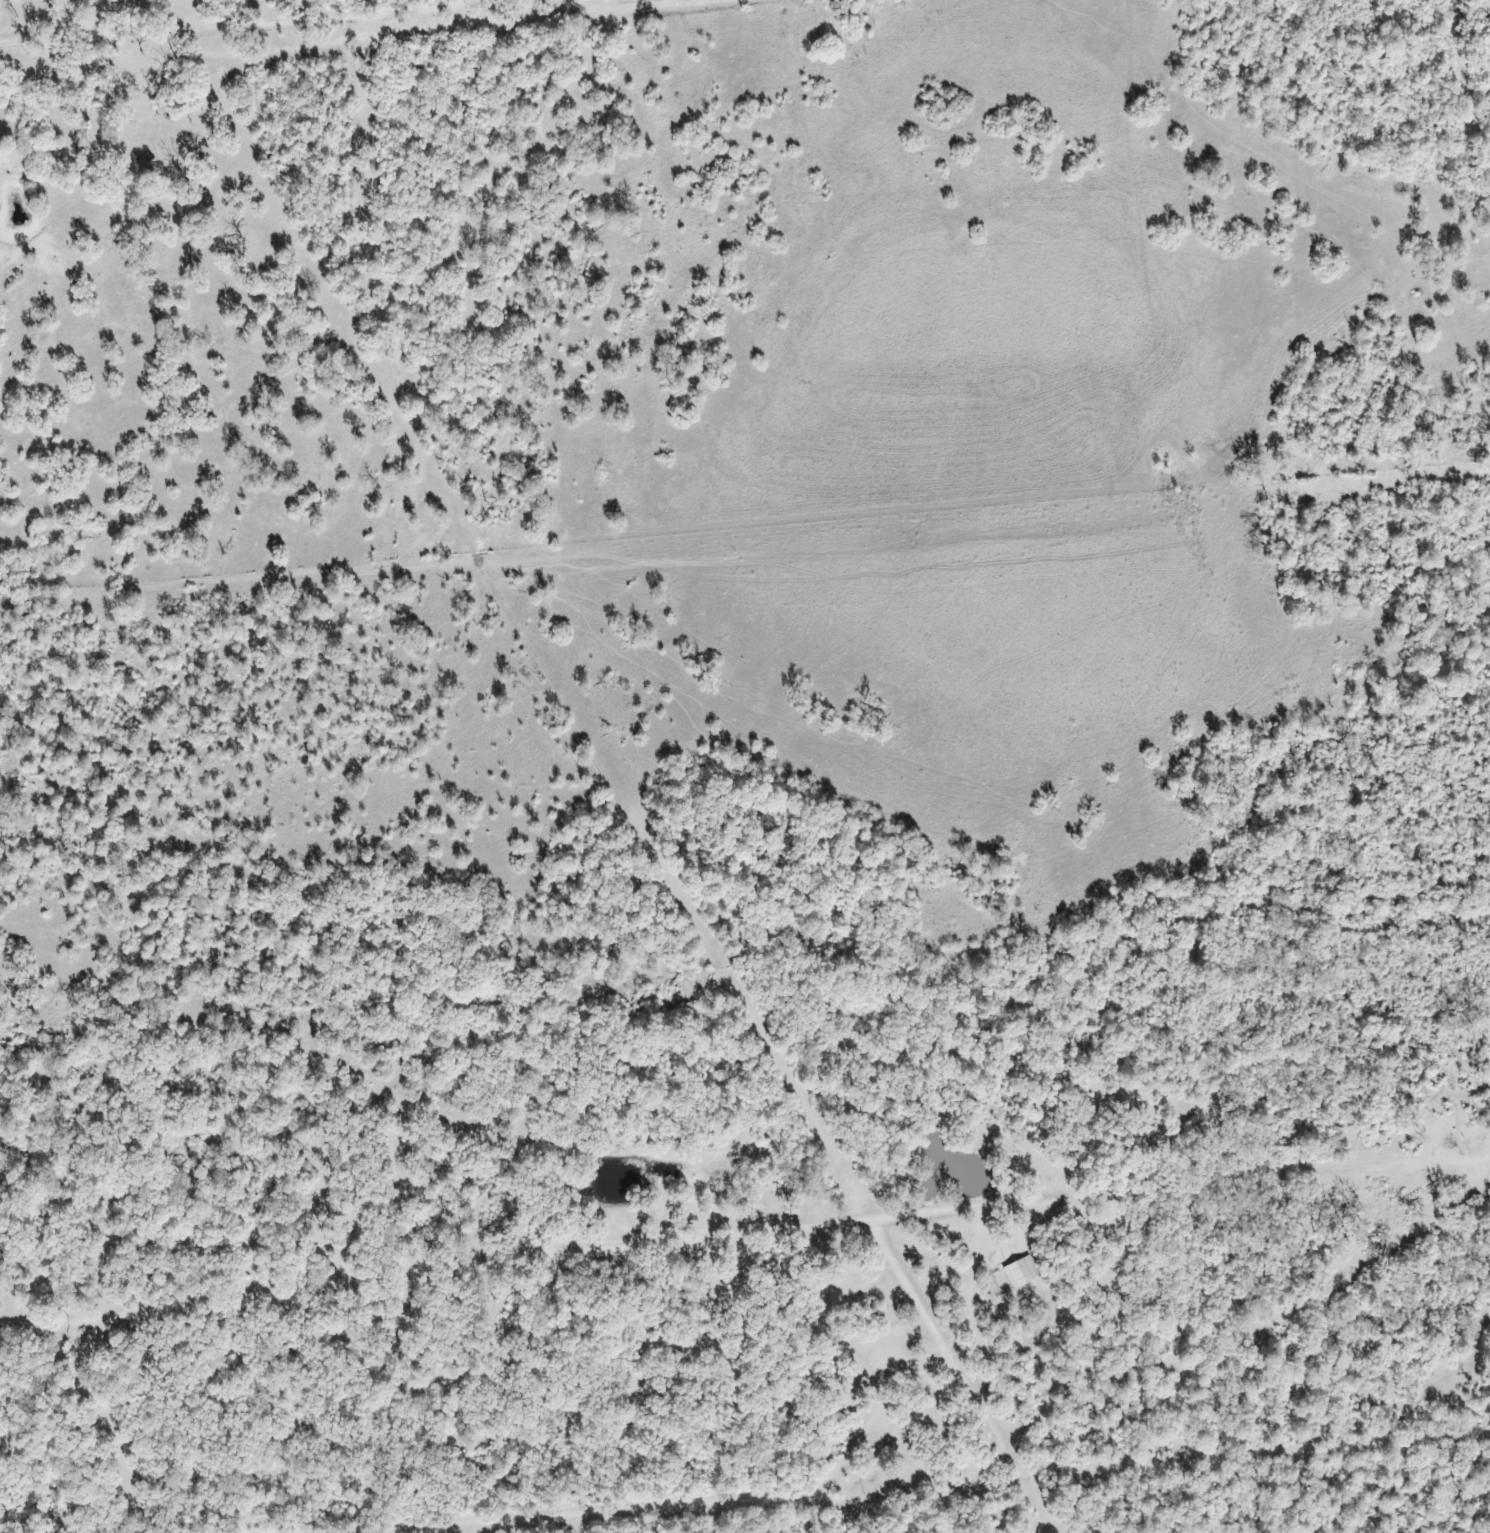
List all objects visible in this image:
building: (1019, 1271)

